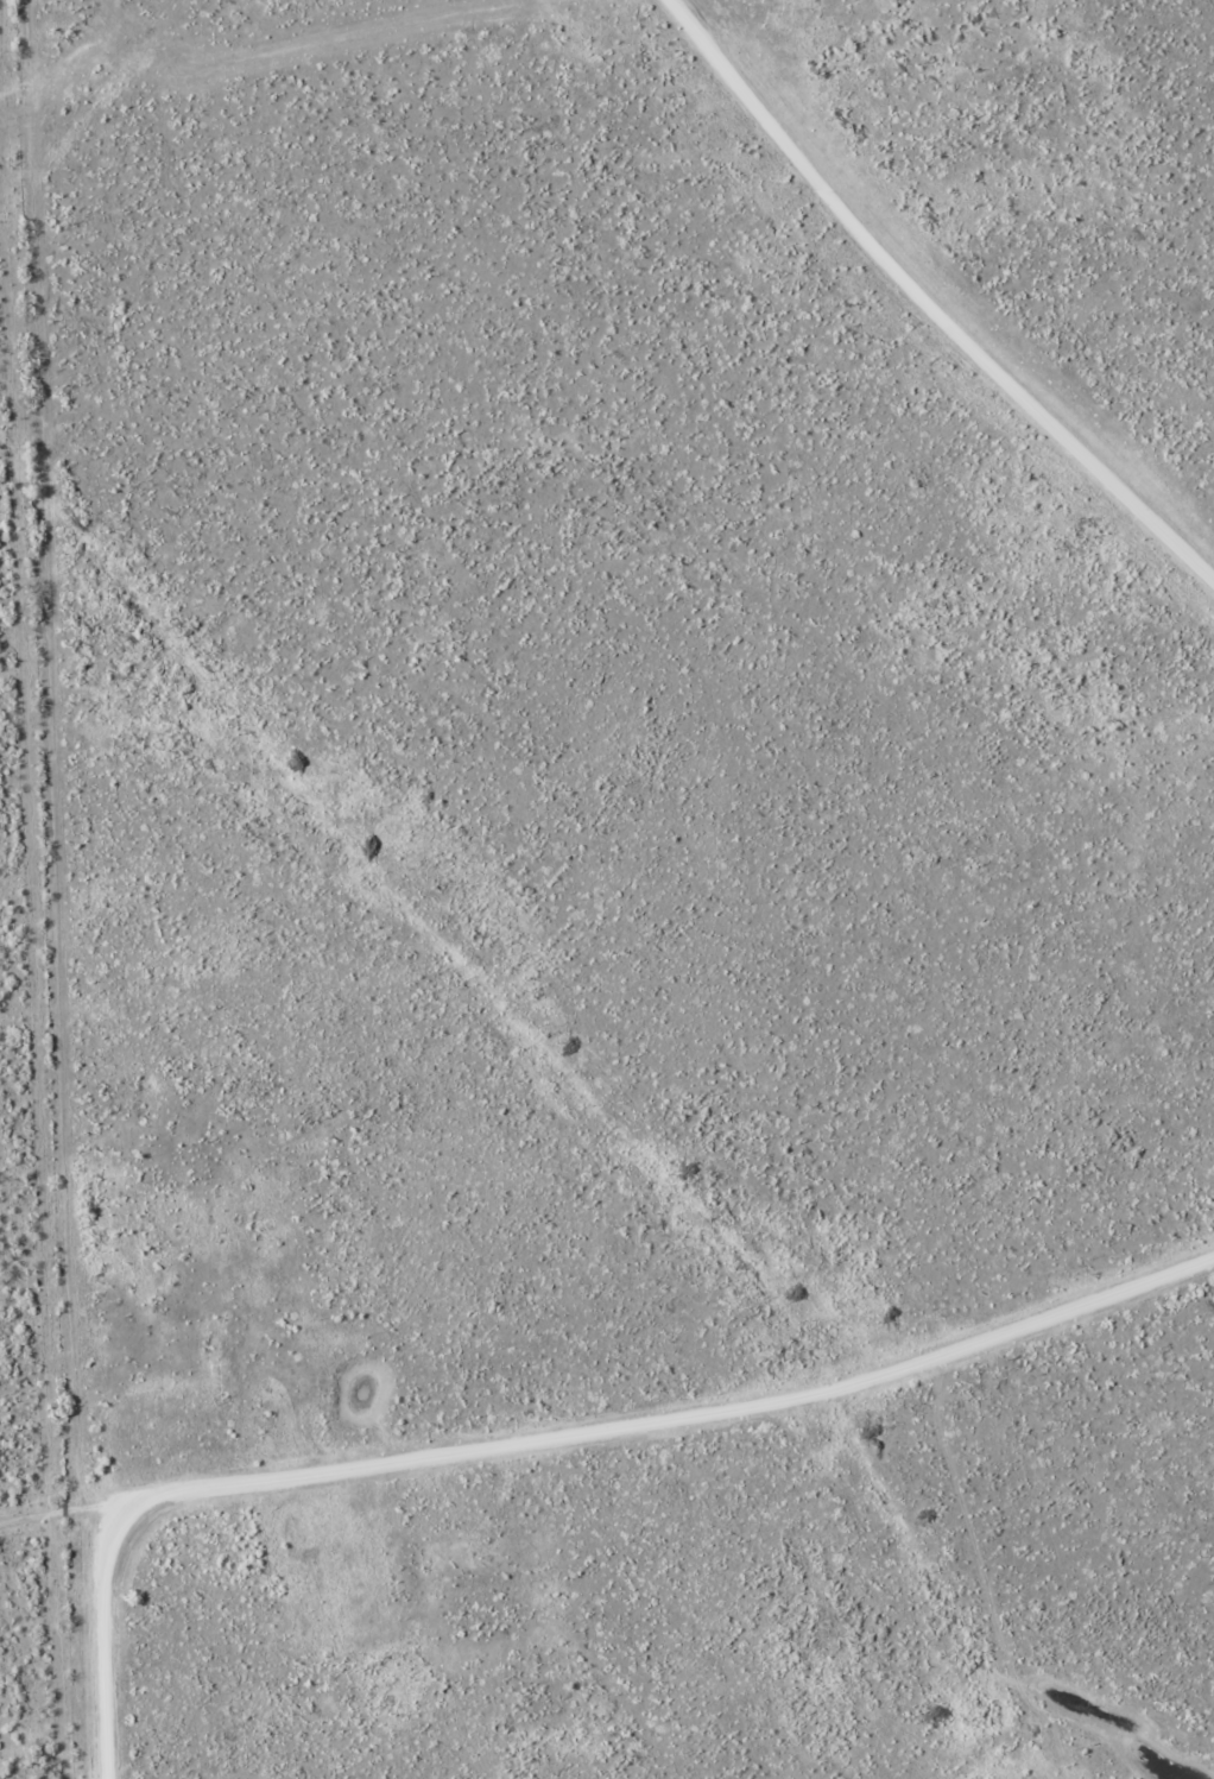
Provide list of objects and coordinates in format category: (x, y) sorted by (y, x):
road: (924, 303)

